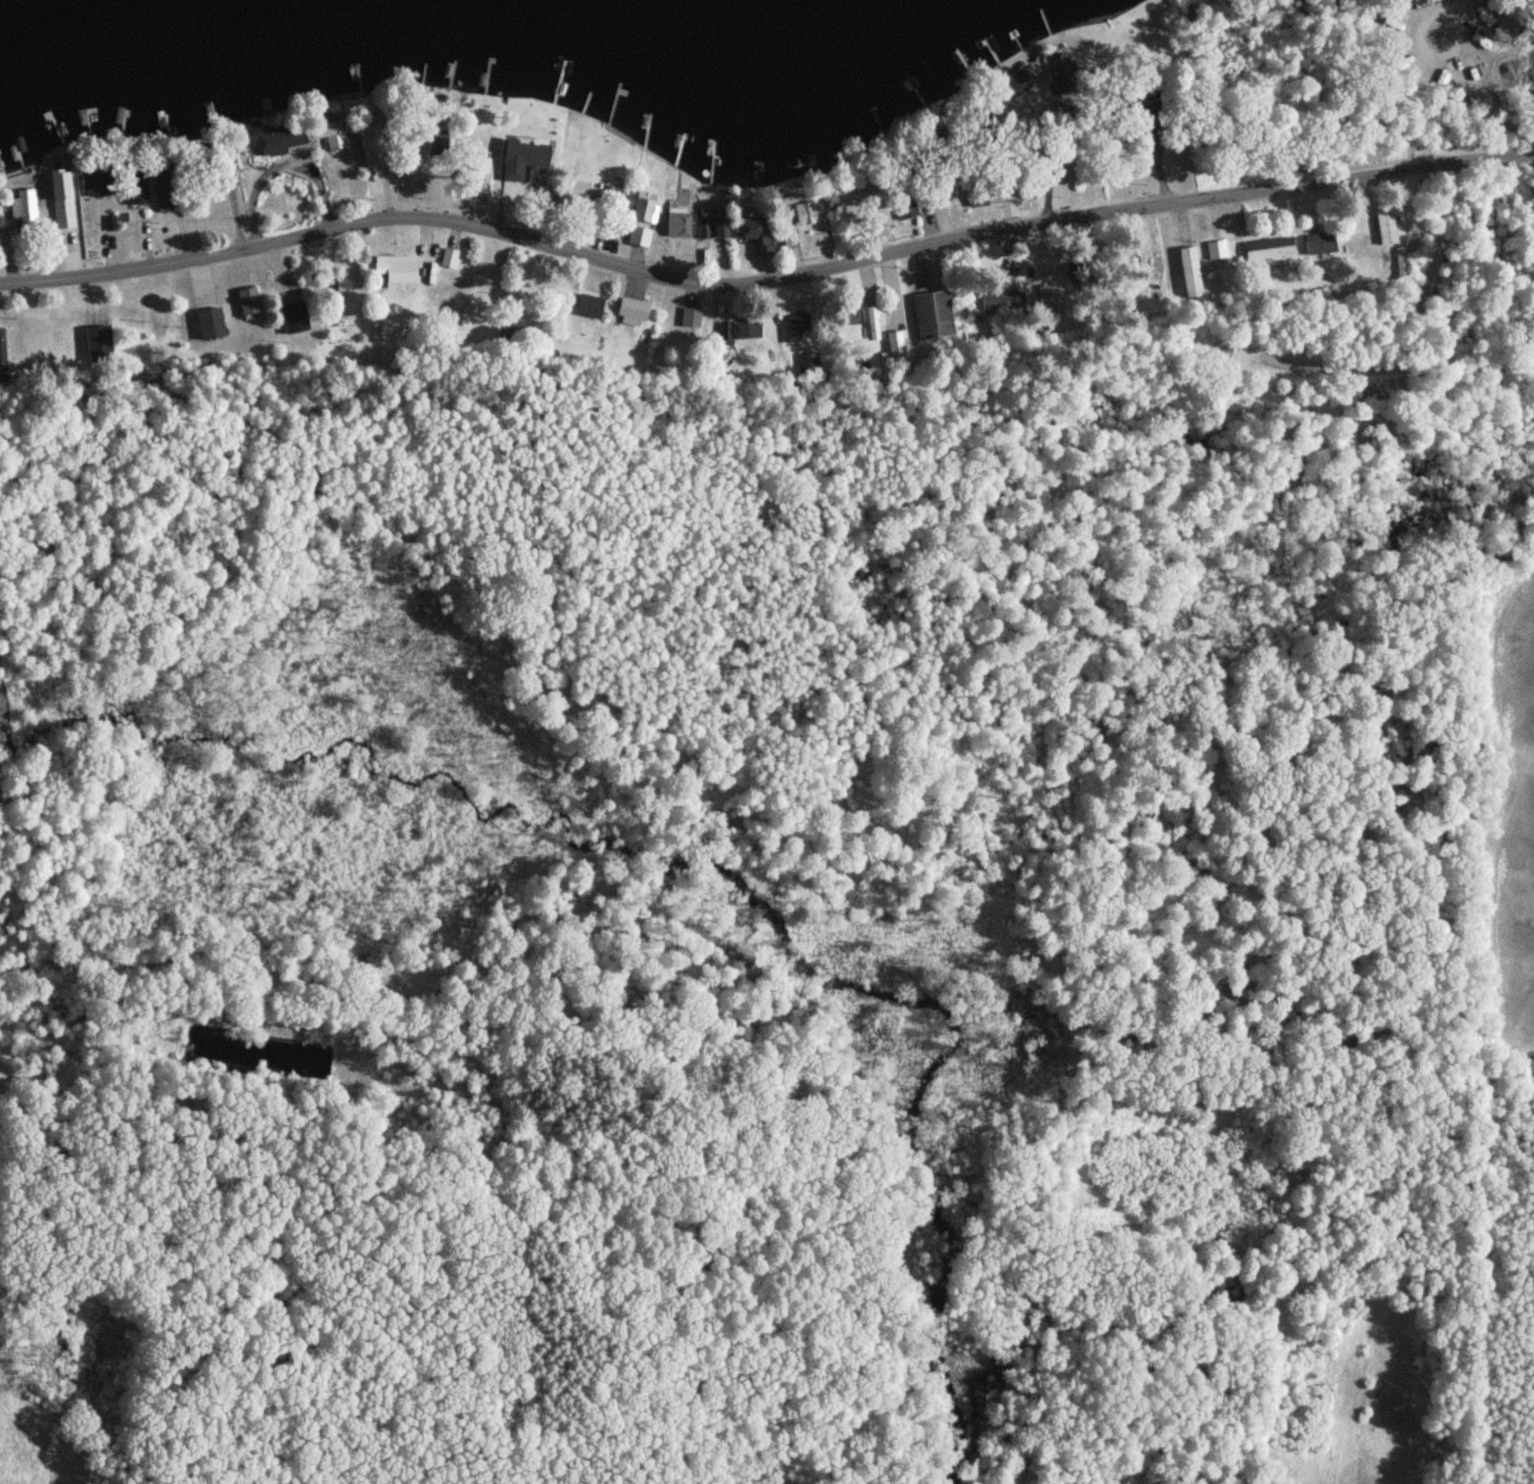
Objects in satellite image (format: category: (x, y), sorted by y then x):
building: (1054, 63)
building: (277, 135)
building: (328, 135)
building: (366, 136)
building: (433, 141)
building: (475, 161)
building: (97, 183)
building: (135, 187)
building: (163, 188)
building: (935, 195)
building: (975, 198)
building: (60, 199)
building: (904, 208)
building: (23, 210)
building: (645, 211)
building: (711, 226)
building: (1386, 228)
building: (751, 235)
building: (789, 236)
building: (638, 237)
building: (1319, 244)
building: (1269, 249)
building: (448, 260)
building: (396, 271)
building: (1188, 272)
road: (764, 275)
building: (993, 300)
building: (247, 302)
building: (588, 307)
building: (155, 310)
building: (632, 310)
building: (129, 311)
building: (931, 316)
building: (850, 318)
building: (295, 319)
building: (209, 322)
building: (875, 322)
building: (795, 329)
building: (741, 330)
building: (2, 351)

